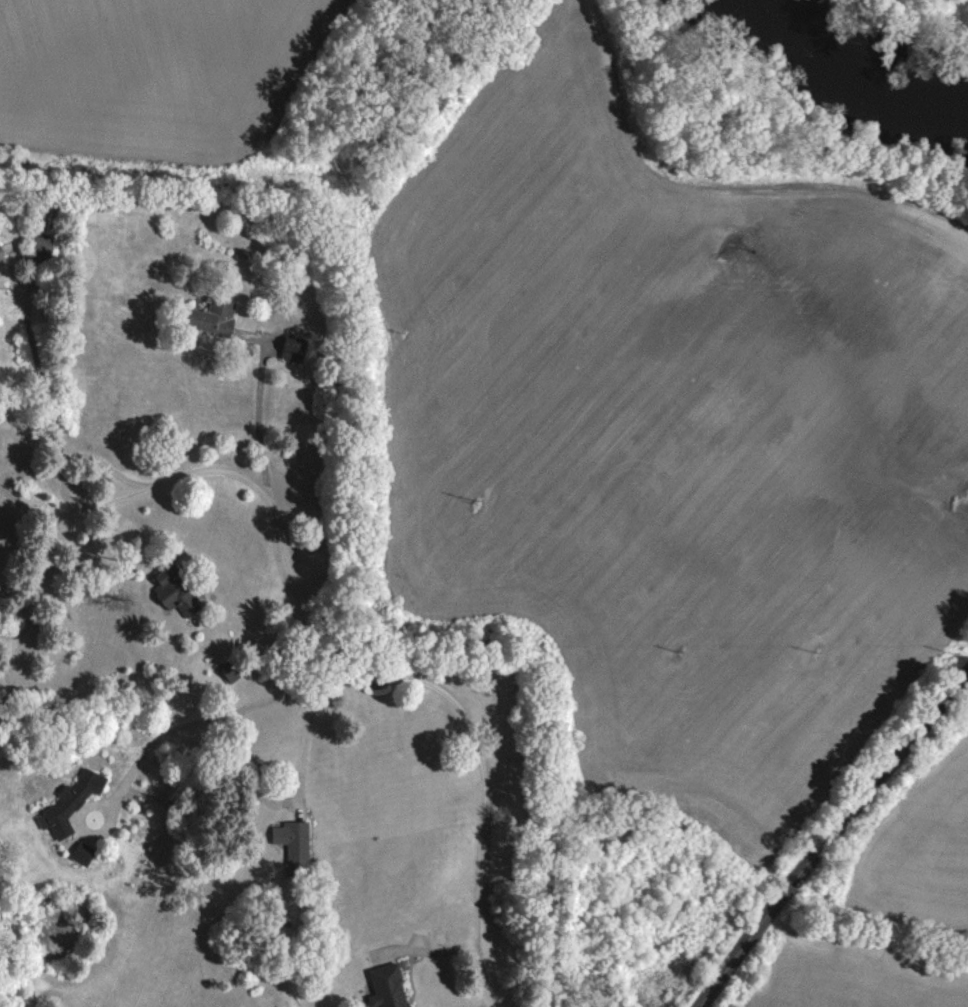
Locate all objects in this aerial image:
river: (855, 68)
crop: (154, 77)
building: (46, 217)
building: (40, 241)
building: (0, 254)
road: (13, 272)
building: (212, 315)
building: (292, 346)
road: (34, 356)
road: (257, 405)
crop: (673, 435)
road: (59, 477)
road: (38, 510)
road: (40, 573)
building: (174, 588)
road: (243, 642)
road: (399, 674)
road: (166, 730)
road: (301, 749)
road: (145, 794)
building: (69, 800)
building: (179, 806)
road: (827, 834)
building: (293, 843)
building: (81, 851)
road: (426, 950)
building: (386, 986)

